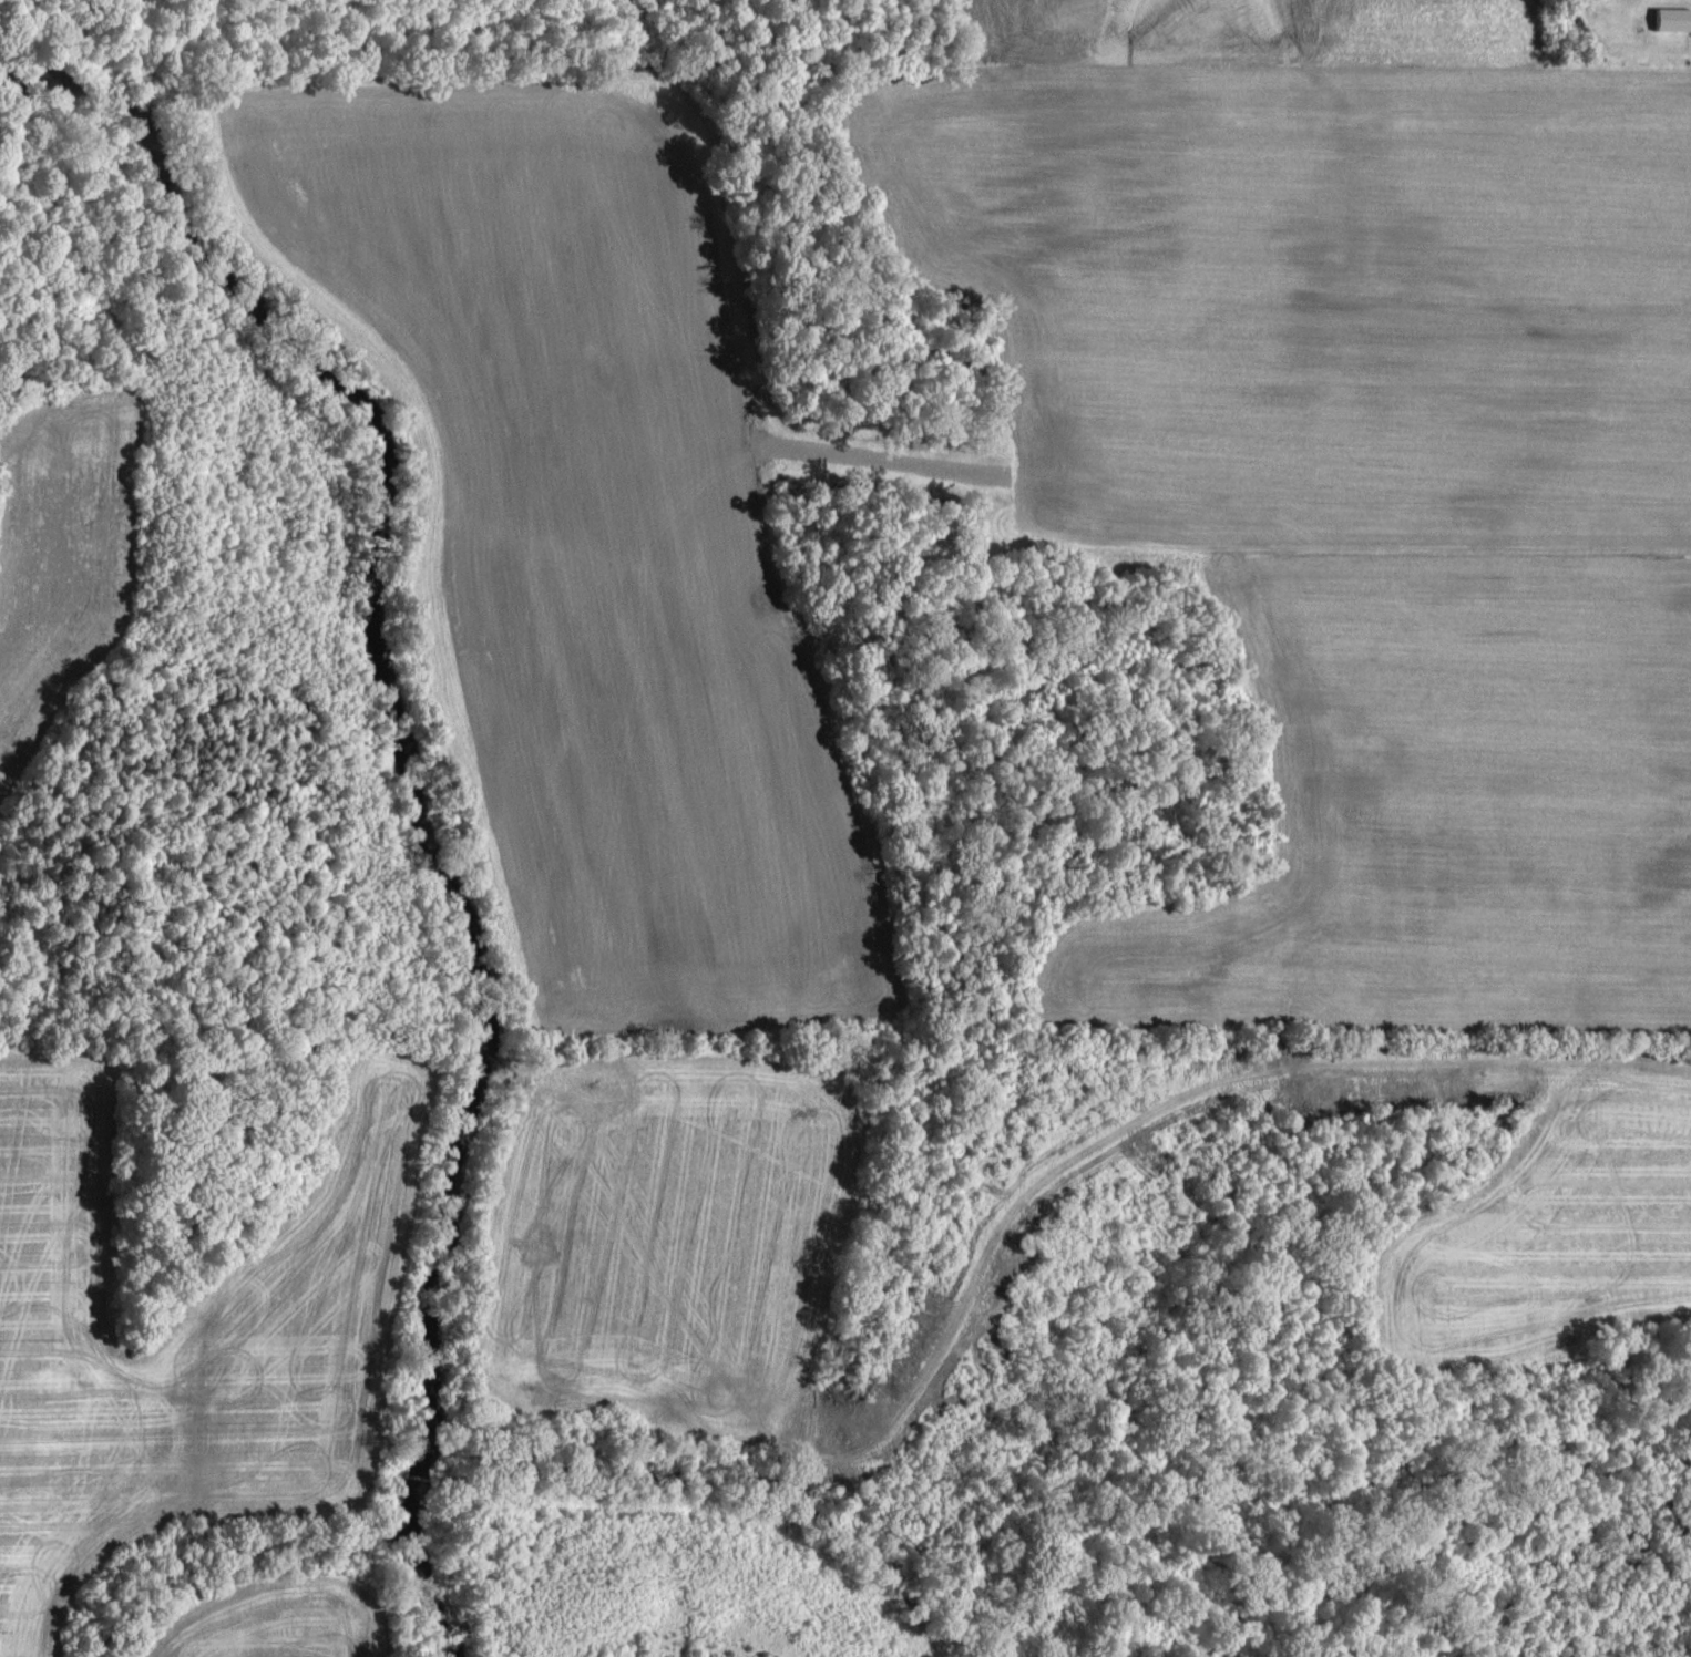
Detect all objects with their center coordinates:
building: (1668, 17)

